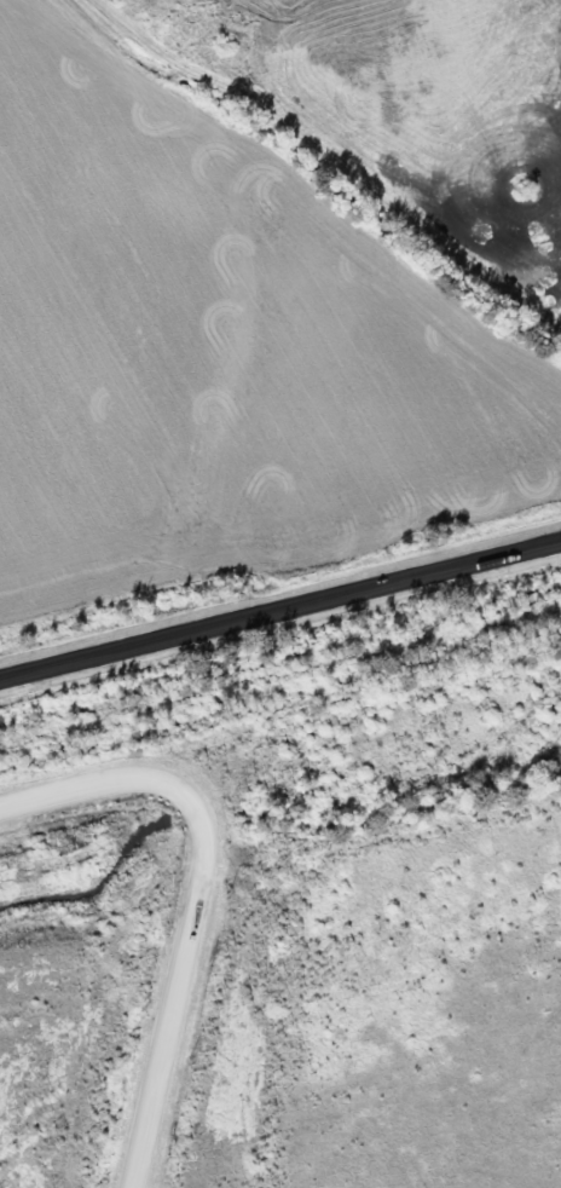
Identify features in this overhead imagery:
road: (280, 610)
railway: (280, 675)
road: (201, 894)

